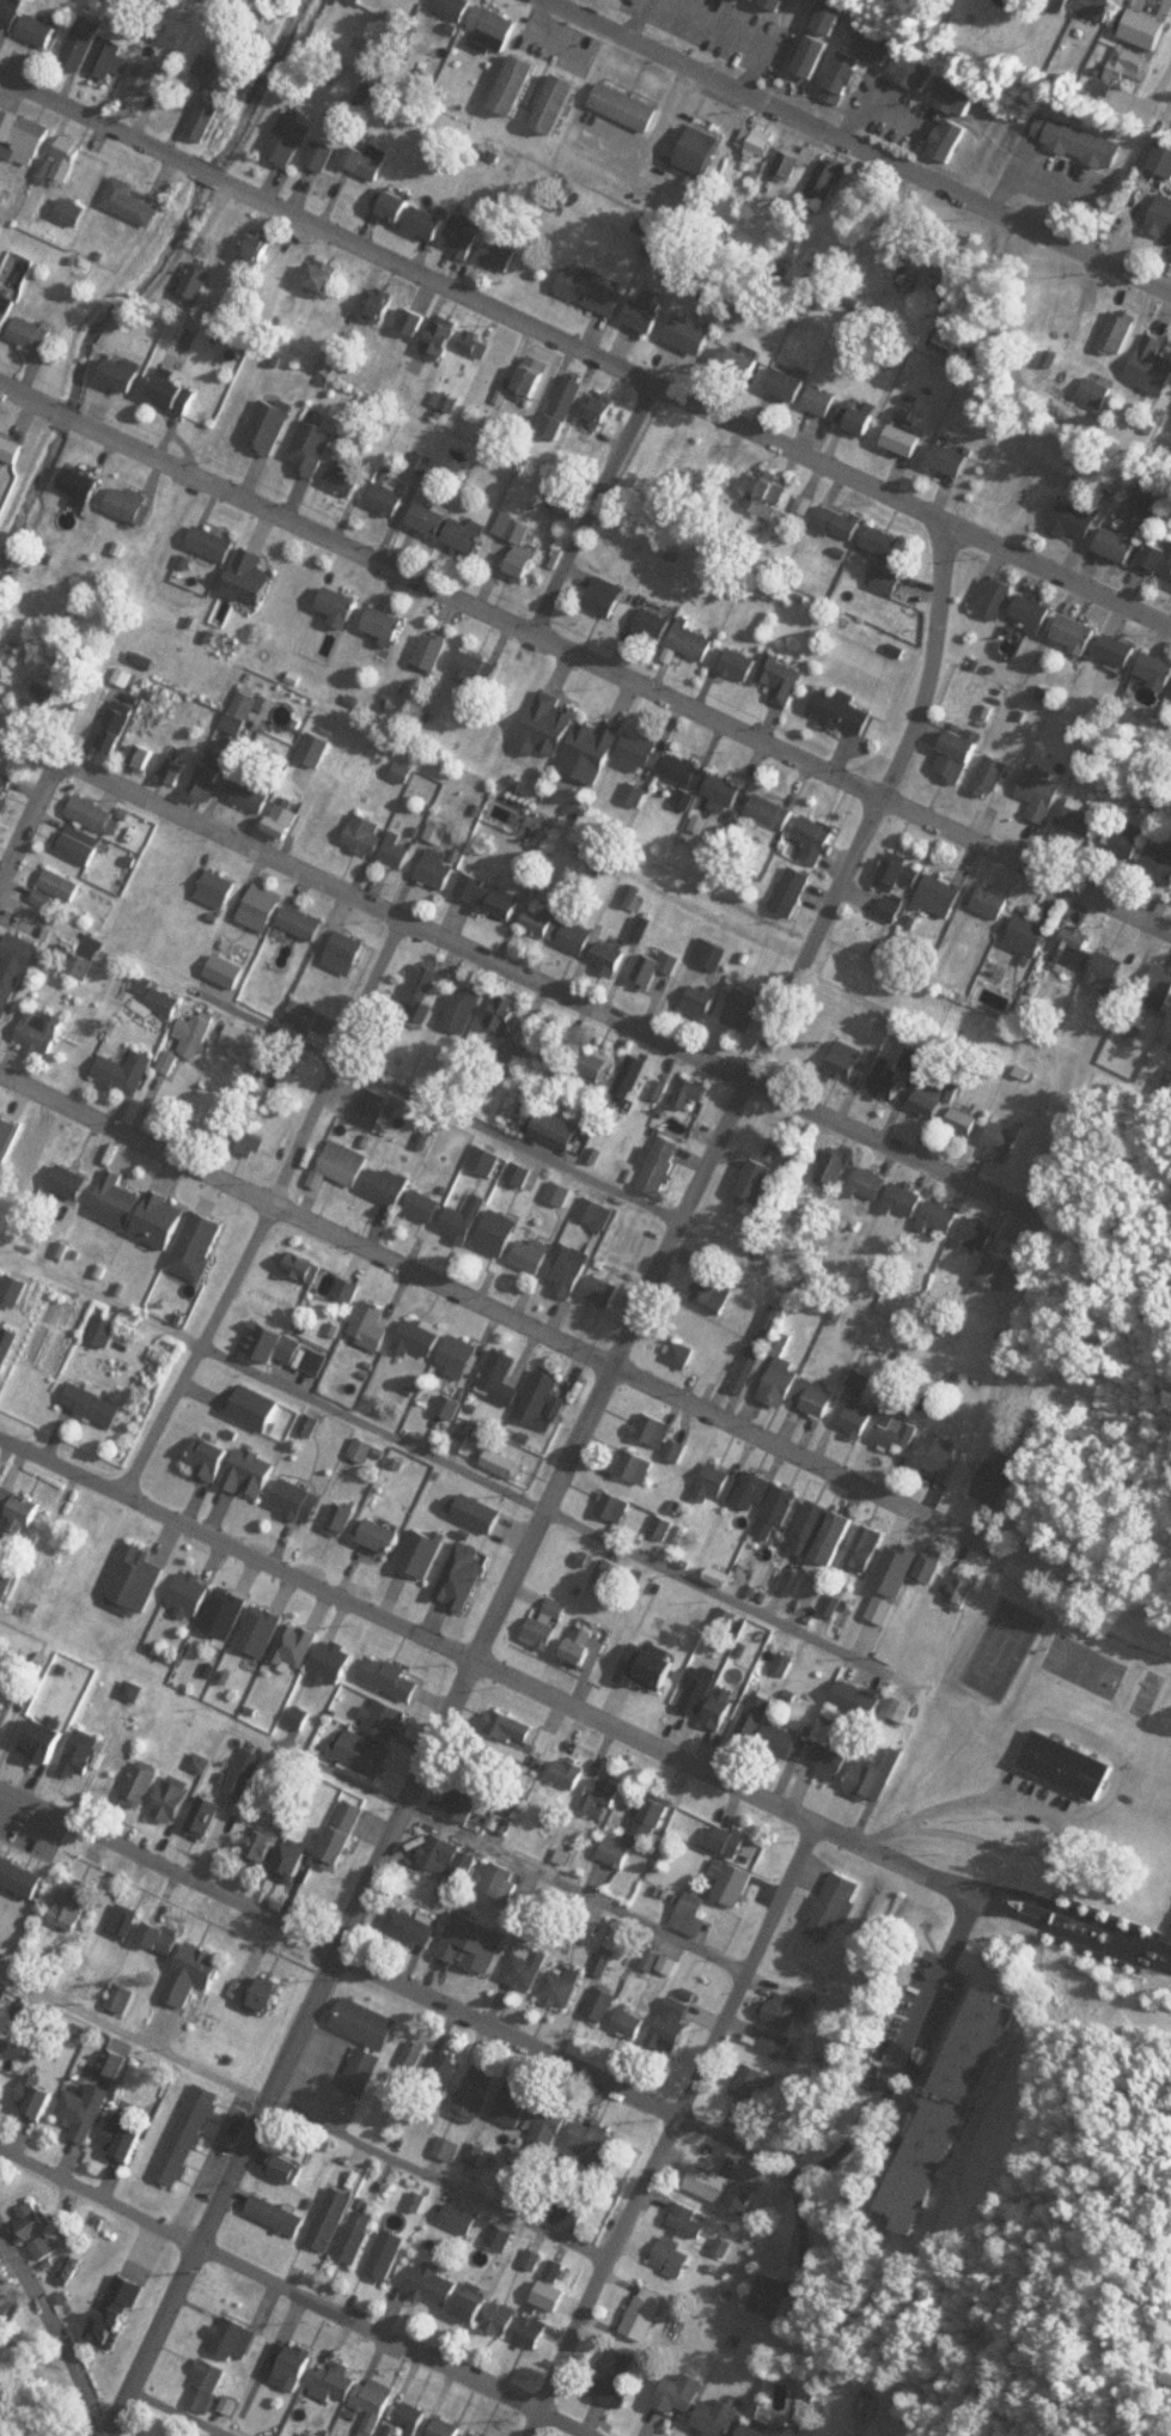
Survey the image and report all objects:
building: (358, 0)
building: (1062, 2)
building: (777, 4)
building: (456, 7)
building: (1100, 7)
building: (11, 11)
building: (832, 14)
building: (495, 24)
building: (41, 30)
building: (84, 41)
building: (877, 47)
building: (813, 55)
building: (115, 59)
building: (1132, 62)
building: (916, 72)
building: (844, 78)
building: (146, 79)
building: (516, 84)
road: (1170, 93)
building: (957, 97)
building: (557, 103)
building: (627, 107)
road: (104, 119)
building: (207, 119)
building: (24, 134)
building: (289, 136)
building: (951, 139)
building: (1079, 140)
building: (761, 144)
road: (865, 148)
building: (701, 150)
building: (324, 152)
building: (1163, 157)
building: (66, 160)
building: (367, 160)
building: (792, 164)
road: (213, 170)
building: (828, 183)
building: (132, 201)
building: (392, 206)
building: (1163, 217)
building: (428, 221)
building: (464, 236)
building: (258, 247)
building: (498, 254)
building: (324, 278)
building: (194, 283)
building: (593, 290)
building: (383, 305)
building: (6, 309)
building: (647, 314)
building: (413, 321)
building: (1120, 332)
building: (33, 334)
building: (441, 340)
building: (477, 345)
building: (738, 363)
building: (1153, 365)
building: (123, 372)
building: (531, 383)
building: (789, 384)
building: (173, 394)
building: (410, 394)
road: (694, 401)
building: (823, 401)
road: (23, 402)
building: (568, 402)
building: (600, 412)
road: (53, 417)
building: (858, 419)
building: (269, 426)
building: (905, 439)
building: (12, 447)
building: (312, 448)
building: (953, 460)
building: (346, 480)
building: (81, 487)
building: (773, 490)
road: (579, 498)
building: (388, 499)
building: (134, 505)
building: (1079, 518)
building: (432, 520)
building: (841, 522)
building: (466, 535)
building: (885, 542)
building: (1122, 542)
building: (213, 545)
building: (520, 554)
building: (1158, 559)
building: (251, 579)
building: (888, 581)
building: (605, 597)
building: (995, 599)
building: (341, 607)
building: (1035, 610)
building: (657, 622)
building: (386, 625)
building: (1079, 632)
building: (695, 642)
building: (1120, 649)
building: (433, 652)
building: (738, 663)
road: (617, 667)
building: (476, 668)
building: (1158, 669)
building: (785, 676)
building: (43, 704)
building: (245, 709)
building: (843, 711)
building: (553, 723)
building: (117, 727)
building: (593, 751)
building: (642, 751)
building: (958, 755)
building: (145, 758)
building: (685, 770)
building: (176, 771)
building: (993, 777)
building: (726, 790)
building: (5, 791)
building: (1043, 792)
building: (254, 796)
building: (773, 812)
building: (94, 814)
road: (30, 816)
building: (1081, 819)
building: (283, 822)
building: (439, 831)
building: (368, 836)
building: (813, 839)
building: (1124, 840)
building: (80, 845)
building: (400, 850)
building: (1159, 864)
building: (439, 869)
building: (899, 875)
building: (63, 885)
building: (220, 889)
building: (794, 893)
building: (490, 895)
building: (941, 897)
building: (995, 903)
building: (263, 907)
building: (894, 910)
building: (304, 922)
building: (560, 929)
building: (1030, 935)
building: (1078, 949)
building: (347, 954)
building: (712, 954)
building: (612, 960)
building: (83, 966)
building: (657, 970)
building: (1110, 970)
building: (228, 971)
building: (16, 973)
road: (551, 984)
building: (423, 988)
building: (1159, 992)
building: (169, 1000)
building: (703, 1001)
building: (745, 1008)
building: (464, 1010)
building: (505, 1014)
building: (43, 1031)
building: (248, 1040)
building: (193, 1041)
building: (513, 1056)
road: (337, 1059)
building: (853, 1062)
building: (600, 1063)
building: (919, 1063)
building: (128, 1073)
building: (636, 1076)
building: (1169, 1088)
building: (663, 1089)
building: (691, 1093)
building: (931, 1105)
building: (378, 1108)
building: (966, 1124)
building: (560, 1130)
building: (6, 1137)
building: (1005, 1141)
building: (31, 1149)
building: (777, 1153)
building: (347, 1164)
building: (663, 1165)
building: (837, 1170)
building: (524, 1173)
building: (758, 1180)
building: (72, 1184)
building: (872, 1184)
building: (389, 1185)
building: (562, 1193)
building: (120, 1196)
building: (908, 1198)
road: (272, 1202)
building: (426, 1205)
building: (600, 1213)
building: (943, 1216)
building: (466, 1219)
building: (163, 1221)
building: (980, 1232)
building: (501, 1233)
building: (200, 1245)
building: (535, 1255)
building: (1000, 1270)
building: (572, 1272)
building: (323, 1277)
building: (604, 1290)
building: (714, 1293)
road: (496, 1311)
building: (372, 1328)
building: (419, 1340)
building: (276, 1344)
building: (7, 1347)
building: (760, 1349)
building: (683, 1354)
building: (461, 1357)
building: (316, 1362)
building: (782, 1374)
building: (502, 1379)
building: (864, 1379)
building: (817, 1396)
building: (544, 1402)
building: (96, 1405)
building: (255, 1407)
building: (860, 1419)
building: (655, 1429)
building: (901, 1432)
building: (678, 1451)
building: (943, 1456)
building: (212, 1459)
building: (505, 1464)
building: (638, 1466)
building: (252, 1474)
building: (1002, 1478)
building: (719, 1483)
road: (555, 1488)
building: (756, 1490)
building: (300, 1502)
road: (533, 1503)
building: (20, 1506)
building: (618, 1507)
building: (478, 1513)
building: (780, 1513)
building: (342, 1524)
building: (664, 1526)
building: (810, 1530)
building: (383, 1537)
building: (834, 1545)
building: (868, 1548)
building: (423, 1555)
building: (899, 1566)
building: (932, 1568)
building: (130, 1577)
building: (2, 1585)
building: (959, 1591)
building: (191, 1594)
building: (226, 1611)
road: (404, 1614)
building: (728, 1617)
building: (548, 1623)
building: (262, 1628)
building: (299, 1644)
building: (586, 1646)
building: (335, 1659)
building: (642, 1665)
building: (392, 1676)
building: (700, 1689)
building: (858, 1703)
building: (722, 1706)
building: (388, 1718)
building: (757, 1719)
building: (43, 1739)
building: (508, 1741)
building: (786, 1742)
building: (365, 1751)
building: (84, 1754)
building: (832, 1760)
building: (1069, 1763)
building: (246, 1773)
building: (571, 1773)
building: (876, 1775)
building: (144, 1782)
building: (605, 1797)
building: (173, 1799)
building: (466, 1800)
building: (325, 1802)
building: (207, 1815)
building: (653, 1817)
building: (502, 1824)
building: (343, 1834)
building: (732, 1840)
road: (889, 1841)
building: (262, 1846)
road: (508, 1851)
building: (450, 1859)
building: (293, 1860)
building: (612, 1860)
building: (505, 1879)
building: (733, 1882)
road: (1073, 1901)
building: (836, 1905)
building: (72, 1906)
building: (694, 1914)
building: (126, 1920)
road: (1068, 1920)
building: (413, 1928)
building: (161, 1936)
building: (530, 1966)
building: (195, 1972)
road: (400, 1985)
building: (565, 1987)
building: (268, 1994)
building: (604, 2003)
building: (792, 2007)
building: (30, 2013)
building: (632, 2019)
building: (367, 2023)
building: (672, 2025)
road: (905, 2040)
building: (774, 2042)
building: (4, 2054)
building: (416, 2054)
building: (364, 2070)
building: (443, 2070)
building: (752, 2082)
building: (477, 2094)
building: (37, 2096)
building: (950, 2109)
building: (86, 2110)
building: (537, 2112)
road: (304, 2116)
road: (673, 2125)
building: (190, 2136)
building: (126, 2137)
building: (594, 2144)
building: (449, 2148)
building: (480, 2155)
building: (287, 2168)
building: (724, 2189)
building: (572, 2211)
building: (279, 2215)
building: (462, 2217)
building: (334, 2218)
building: (691, 2219)
building: (32, 2223)
building: (359, 2235)
building: (501, 2237)
building: (47, 2247)
building: (388, 2254)
building: (673, 2255)
building: (536, 2258)
building: (5, 2268)
building: (72, 2270)
building: (557, 2270)
building: (434, 2283)
road: (294, 2291)
building: (773, 2295)
building: (472, 2302)
building: (116, 2316)
building: (504, 2317)
building: (645, 2317)
road: (56, 2331)
building: (533, 2331)
building: (236, 2337)
building: (294, 2364)
building: (0, 2371)
building: (617, 2377)
building: (337, 2380)
building: (207, 2383)
building: (683, 2393)
building: (376, 2401)
building: (870, 2407)
building: (413, 2414)
road: (170, 2416)
building: (719, 2417)
building: (446, 2428)
building: (768, 2429)
building: (476, 2434)

